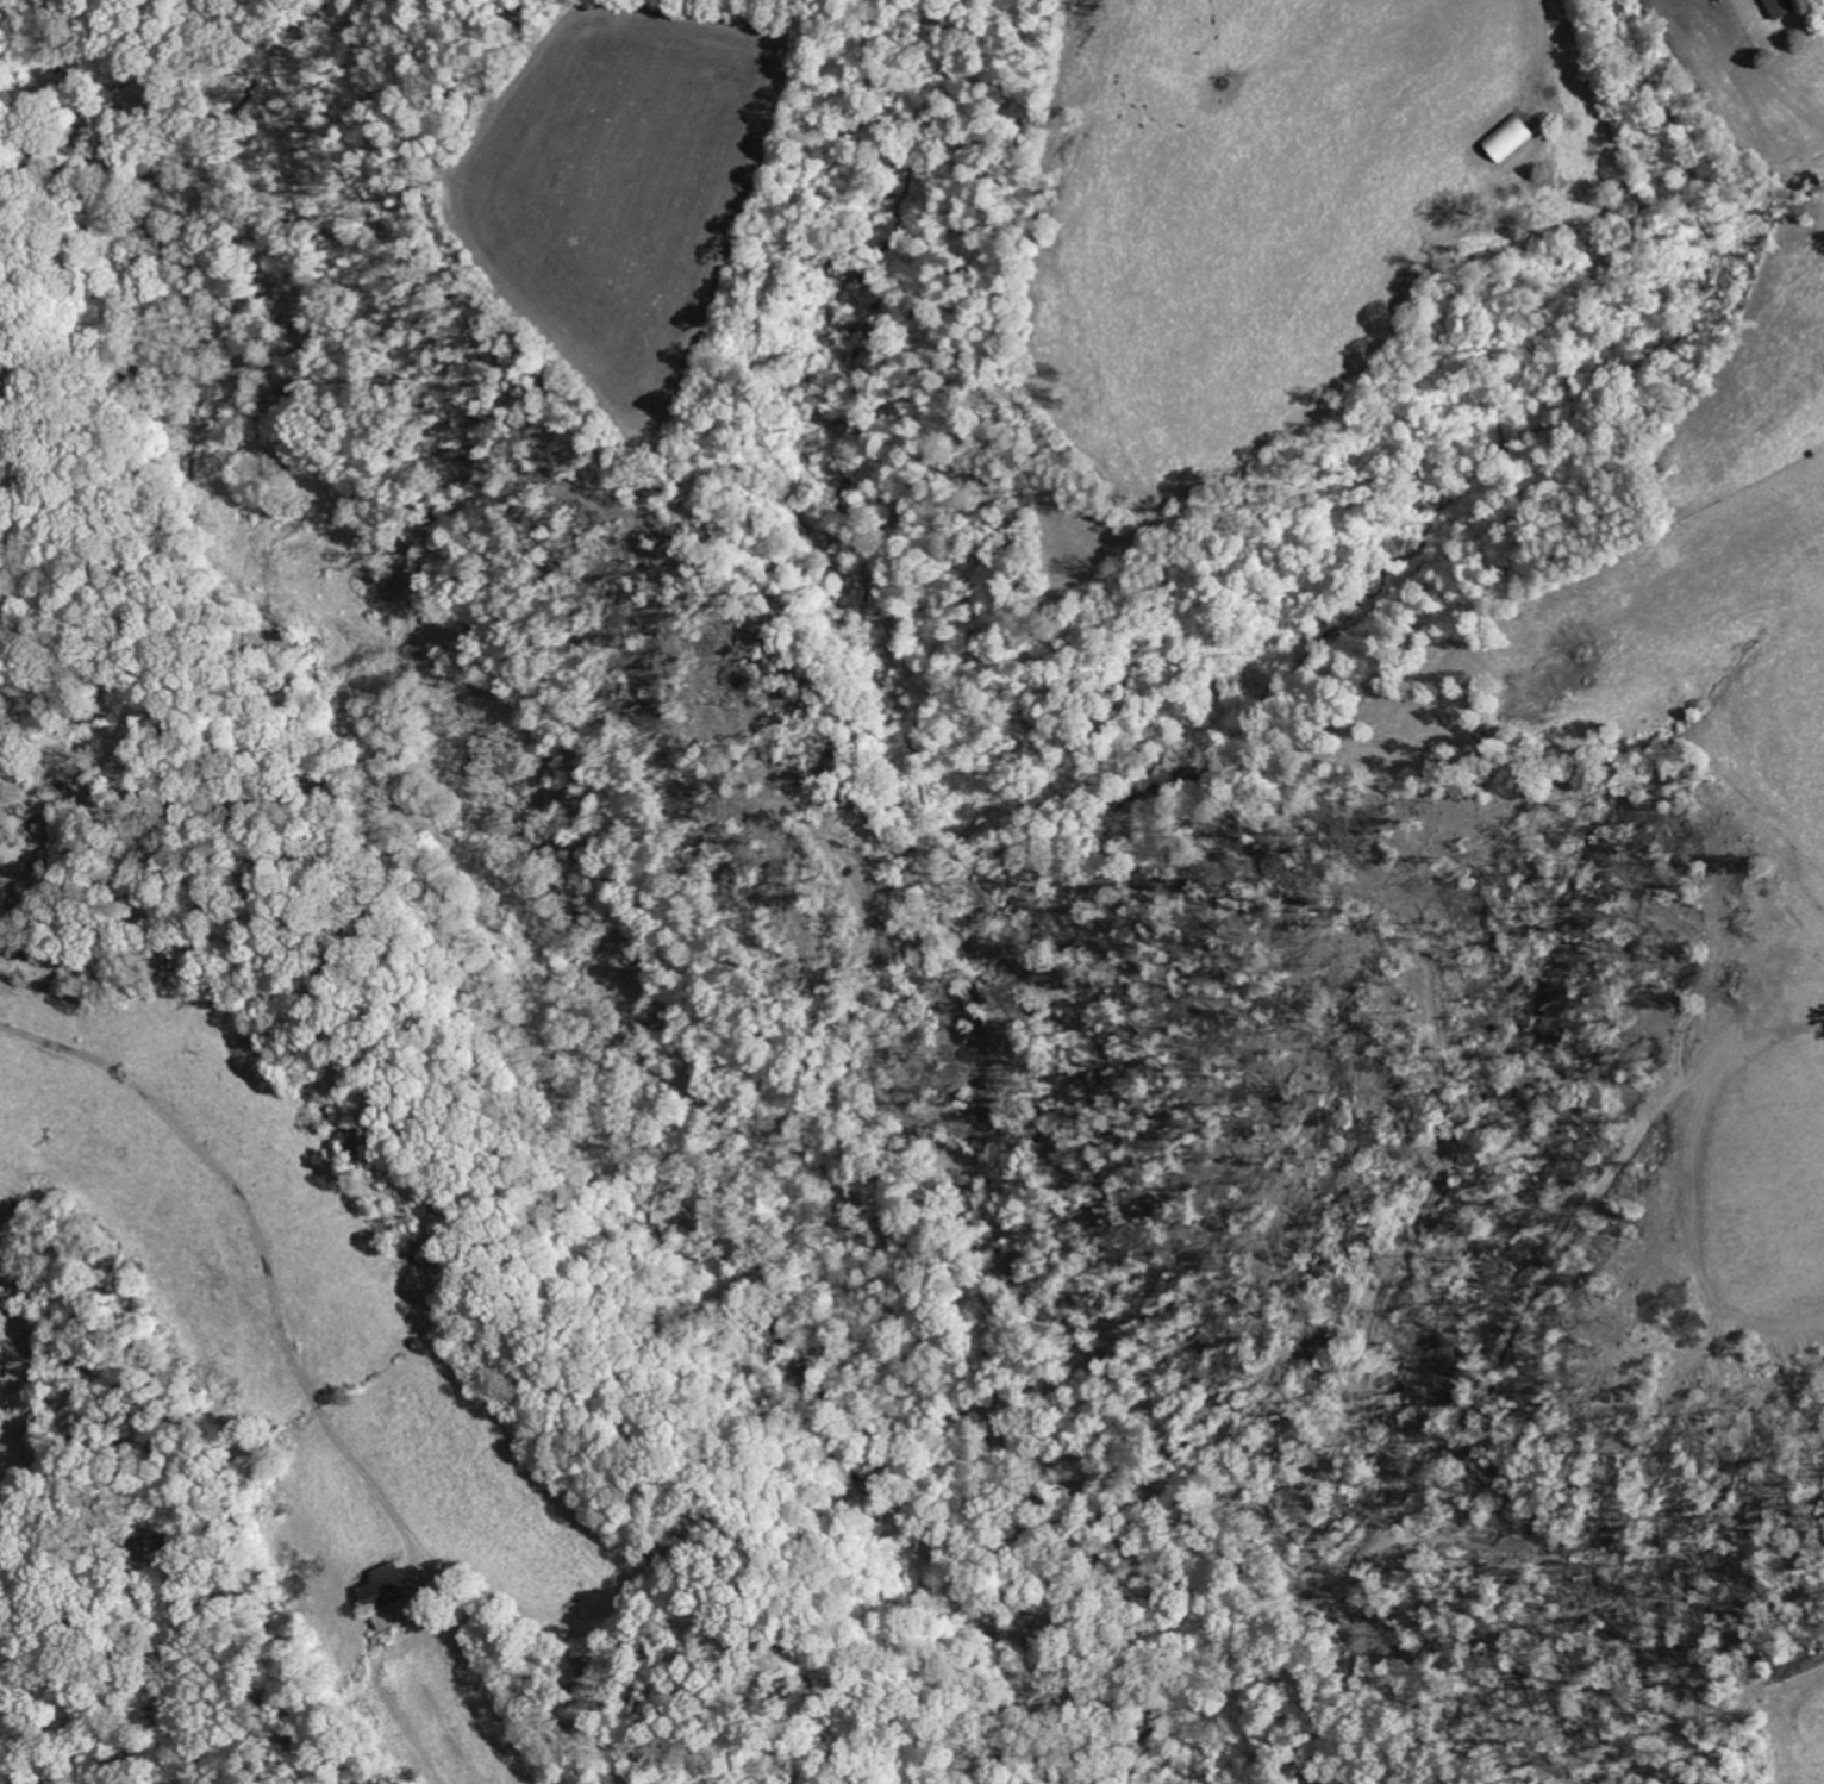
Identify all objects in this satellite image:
building: (1781, 7)
building: (392, 1595)

